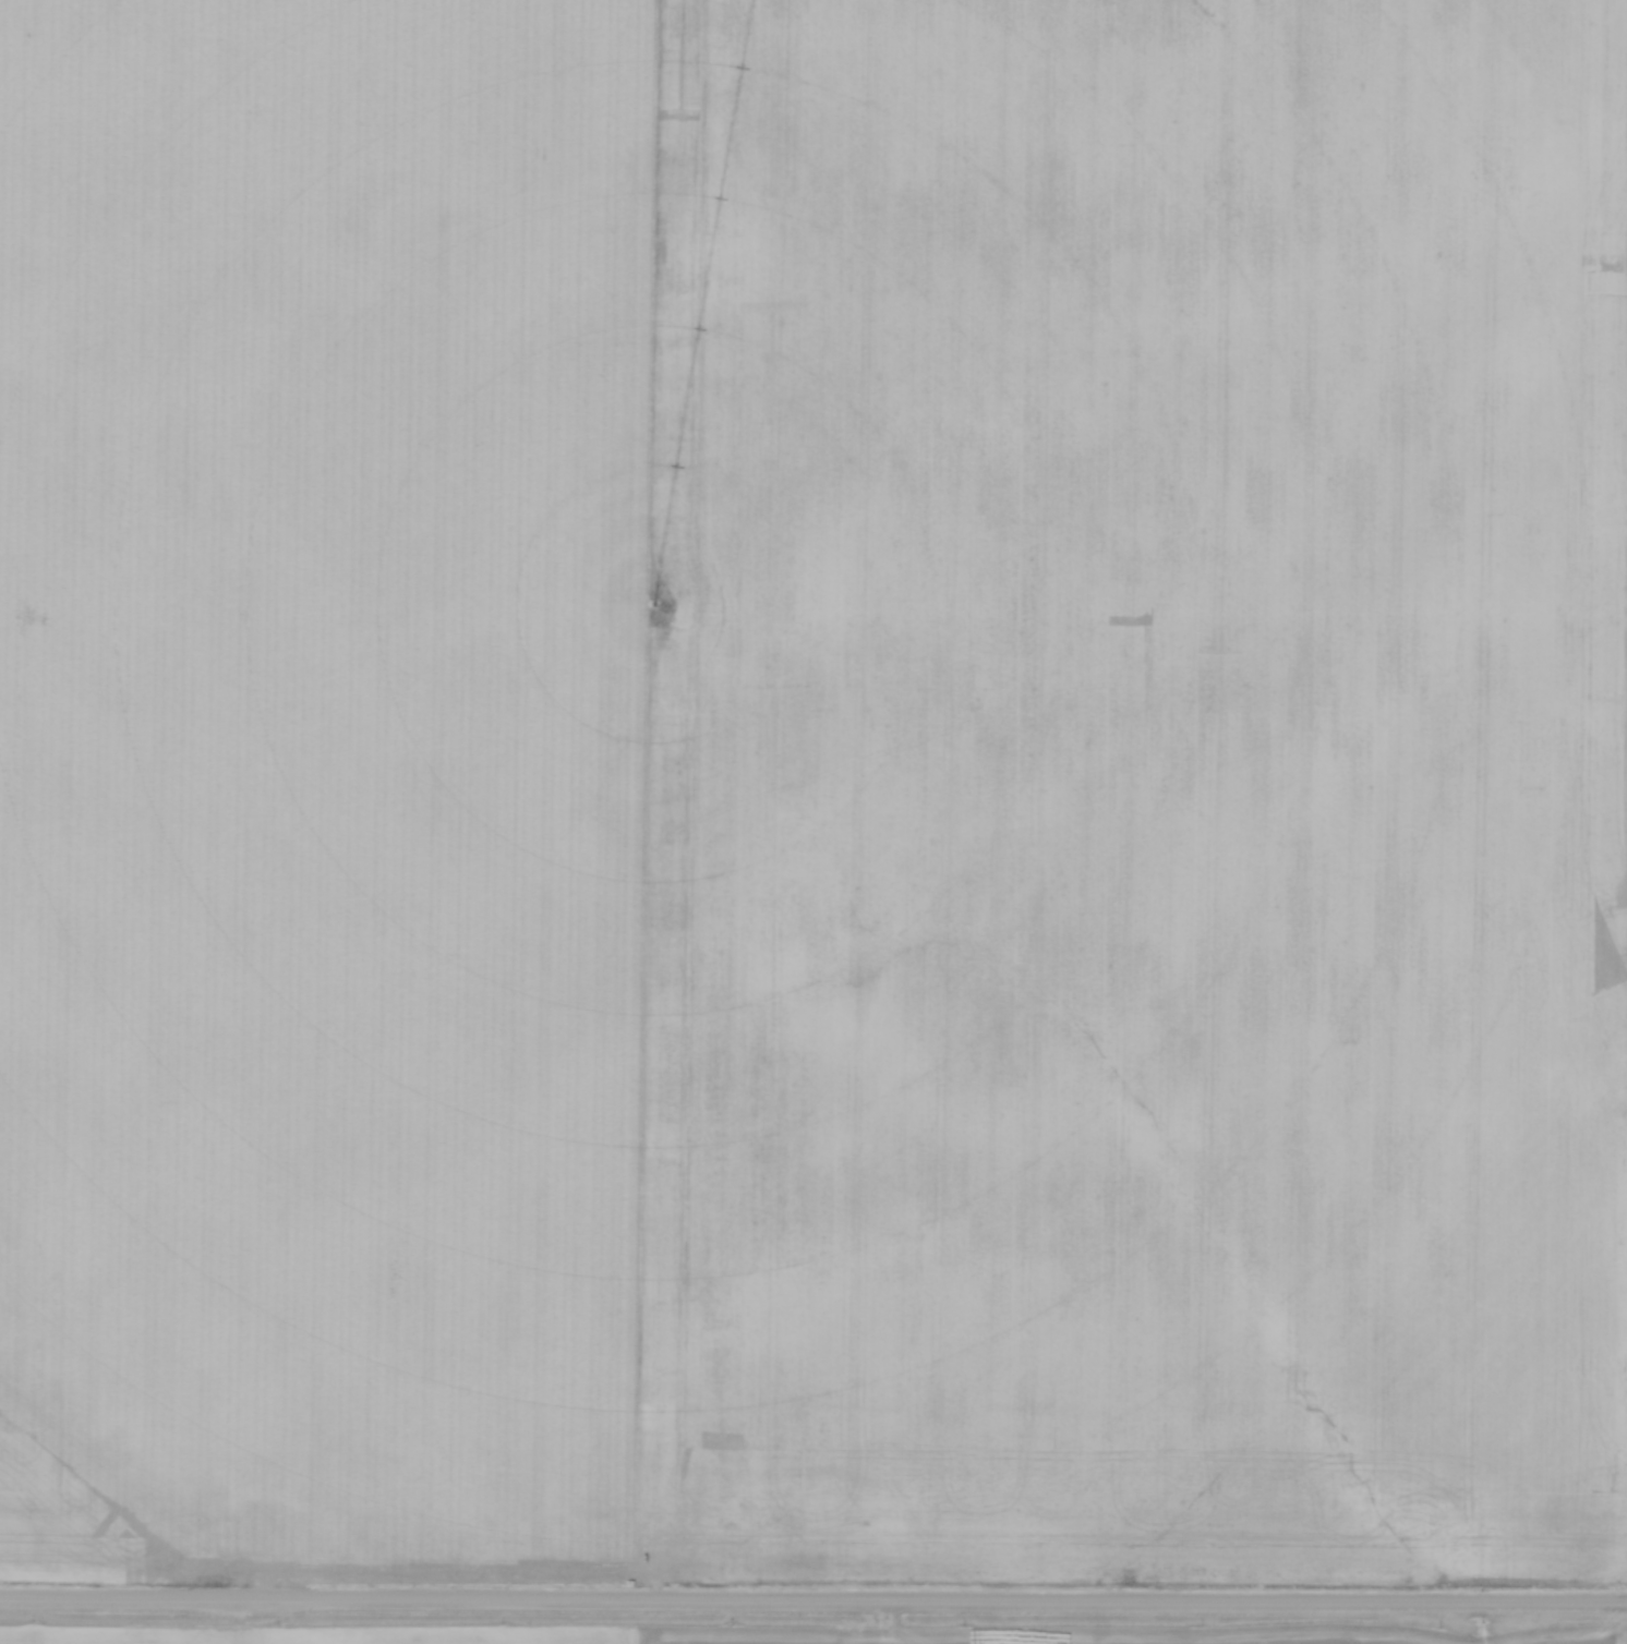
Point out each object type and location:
road: (813, 1607)

